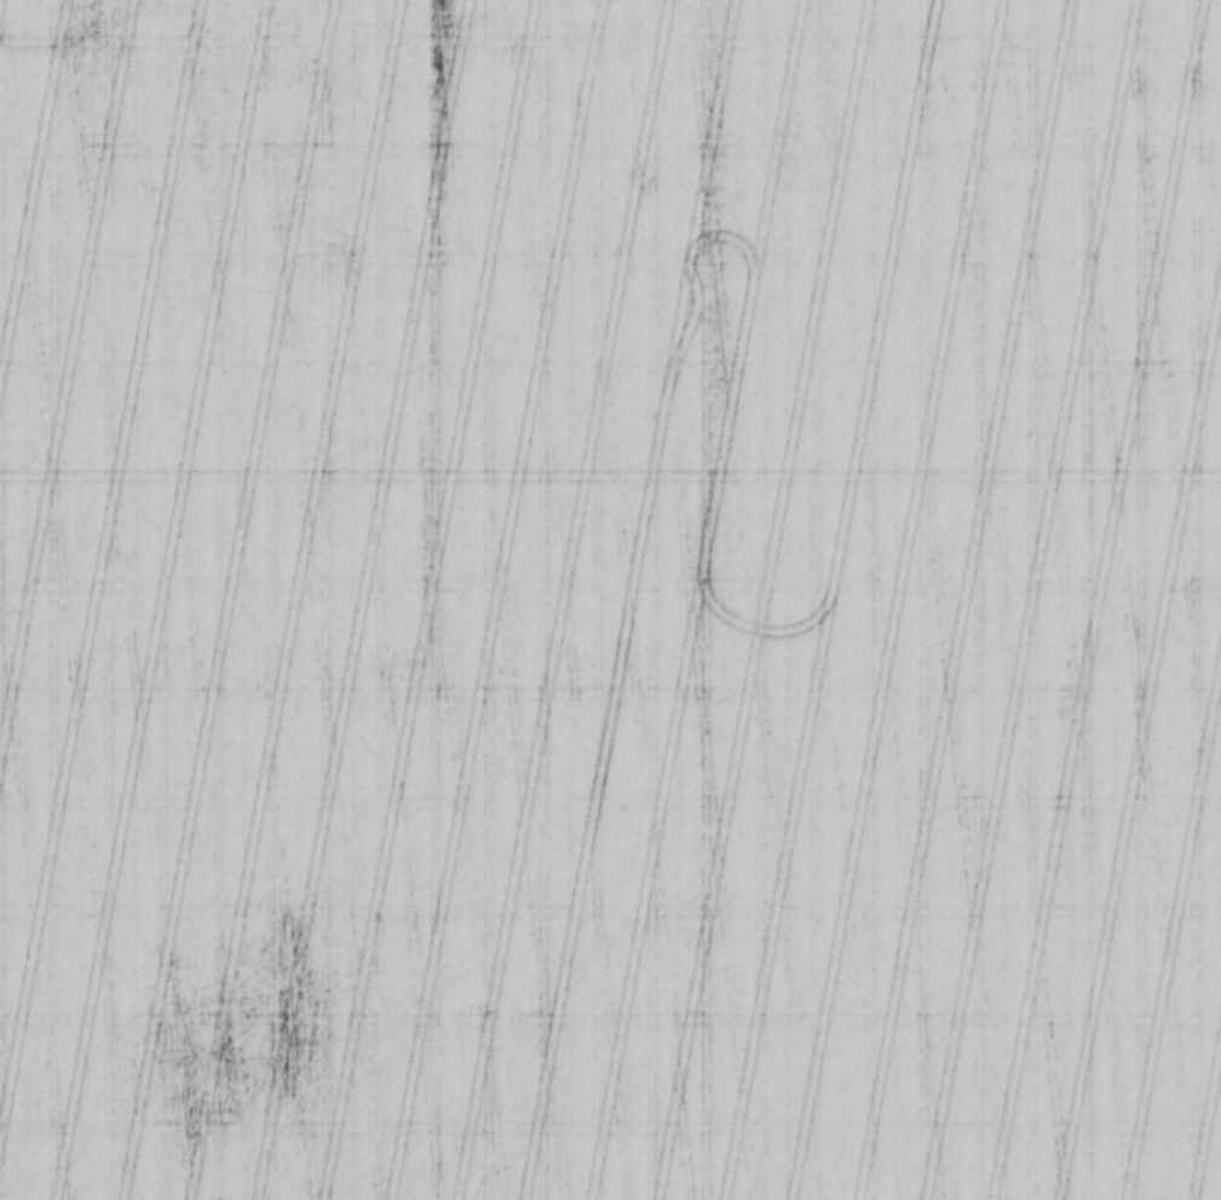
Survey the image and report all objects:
crop: (610, 600)

